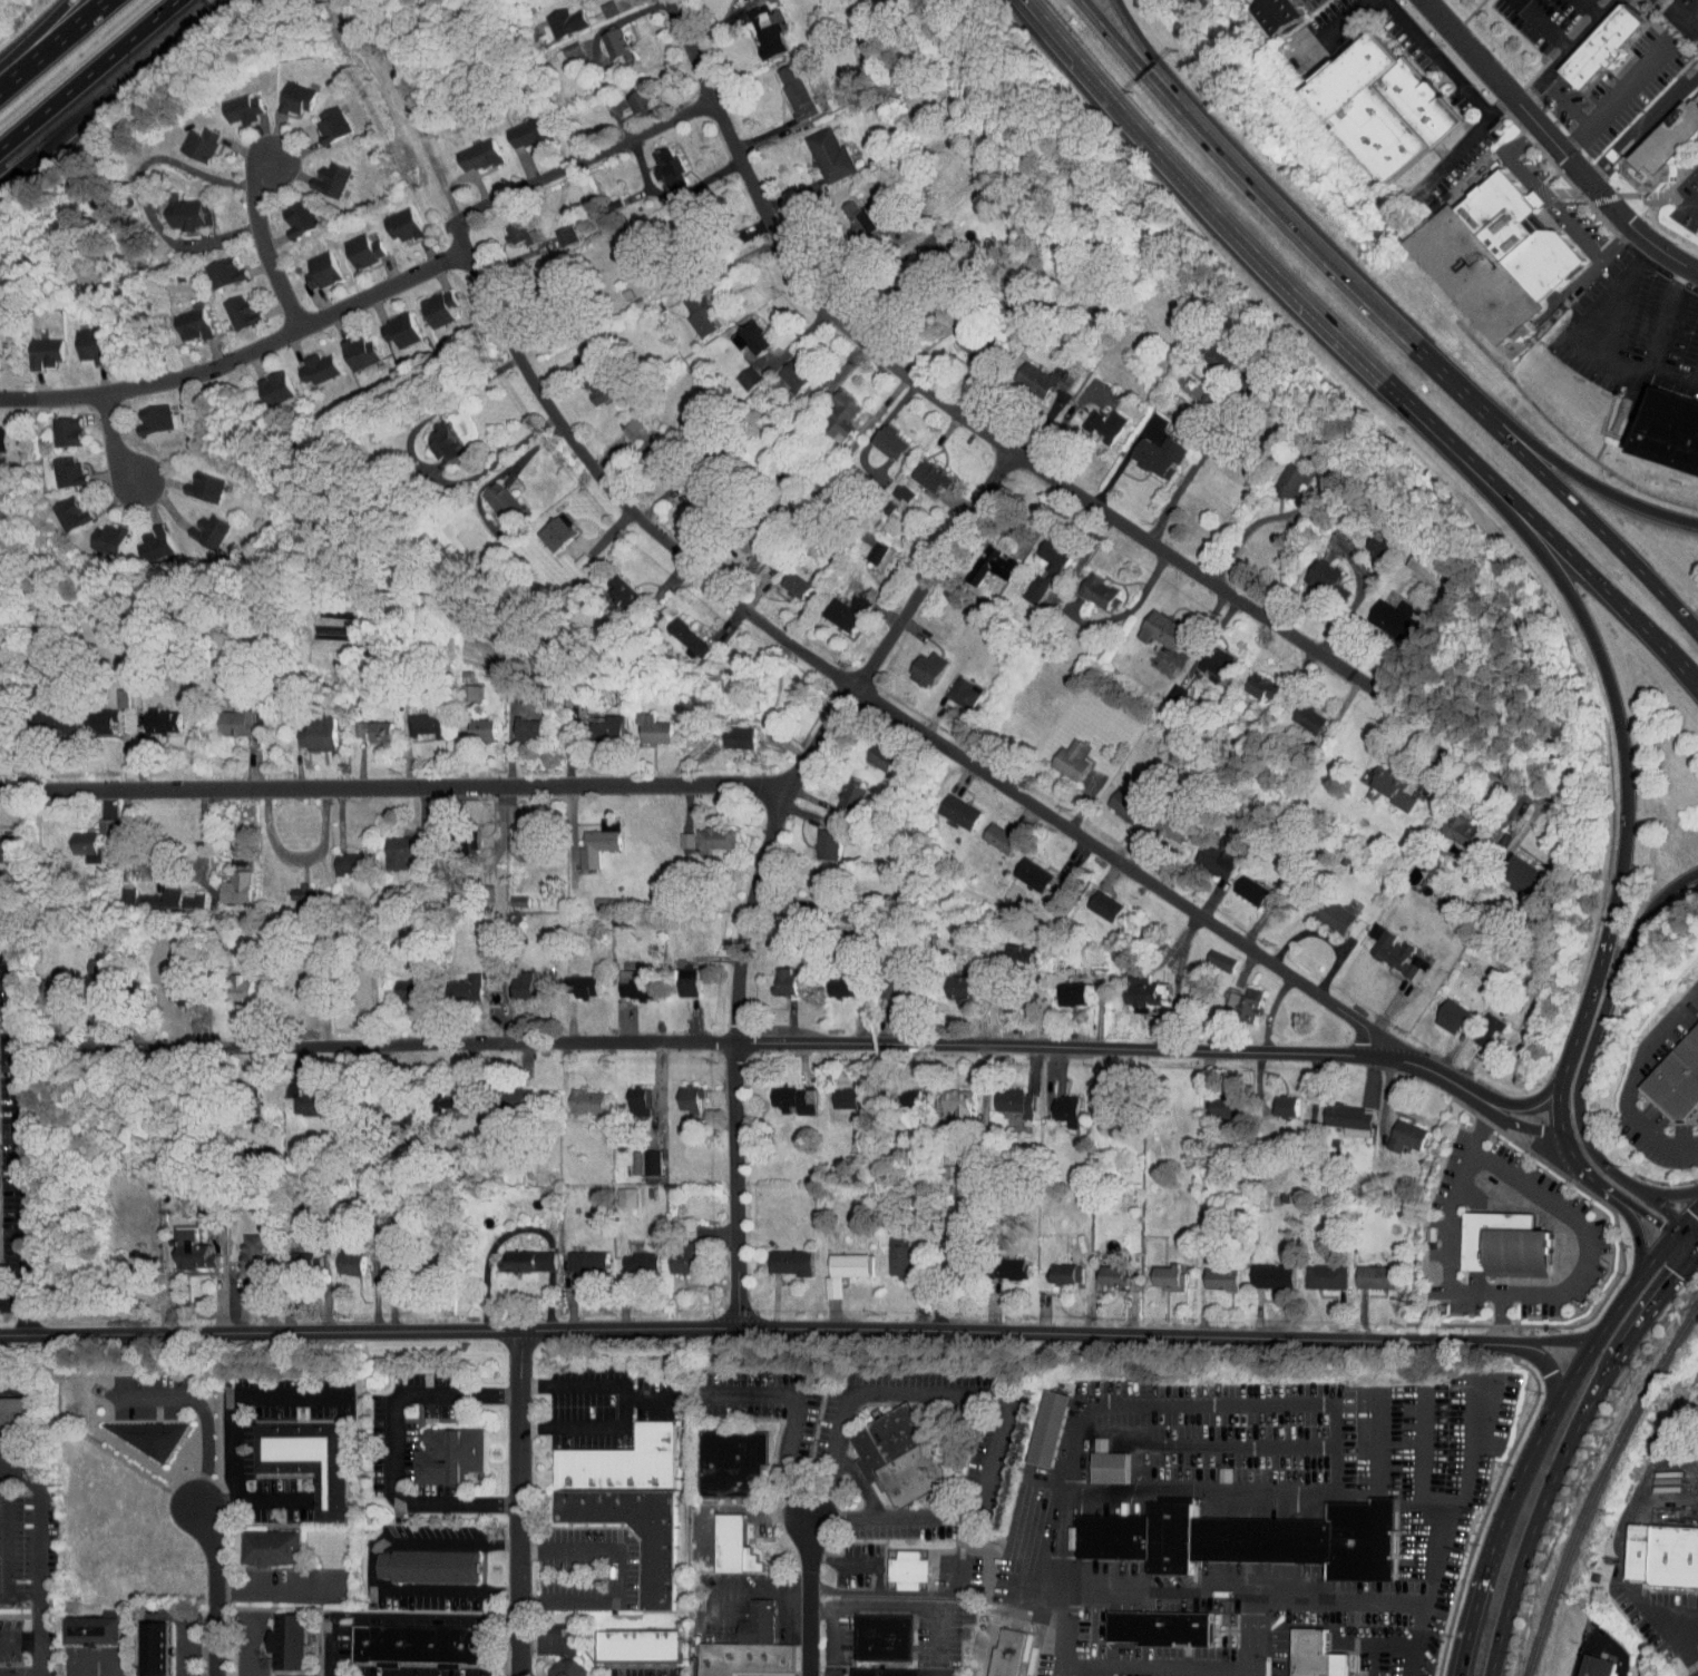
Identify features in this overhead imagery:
building: (596, 3)
road: (1591, 8)
building: (553, 14)
building: (1280, 14)
road: (1681, 16)
road: (612, 22)
building: (754, 22)
road: (1544, 23)
road: (1340, 26)
road: (35, 33)
building: (604, 37)
building: (1590, 39)
building: (1694, 39)
road: (1064, 41)
road: (52, 43)
road: (1052, 46)
building: (1603, 47)
road: (1567, 51)
road: (1438, 57)
road: (1153, 63)
road: (1136, 65)
road: (87, 73)
road: (131, 76)
building: (782, 85)
building: (283, 90)
building: (627, 96)
road: (1614, 97)
building: (230, 101)
road: (1564, 104)
building: (1383, 106)
building: (318, 117)
building: (515, 126)
road: (1640, 127)
building: (186, 137)
building: (1650, 139)
road: (1464, 143)
road: (1553, 145)
road: (1631, 145)
building: (465, 148)
building: (817, 148)
road: (586, 157)
road: (1618, 159)
building: (656, 160)
road: (20, 168)
building: (316, 173)
road: (1602, 176)
road: (139, 193)
road: (1692, 203)
building: (175, 206)
building: (285, 212)
building: (846, 212)
building: (388, 218)
building: (508, 226)
building: (553, 228)
road: (1238, 233)
road: (271, 242)
building: (350, 243)
building: (1503, 255)
road: (1325, 261)
building: (308, 263)
building: (211, 266)
building: (424, 301)
building: (226, 304)
building: (685, 305)
building: (178, 317)
building: (387, 323)
building: (739, 331)
building: (76, 337)
building: (956, 337)
building: (31, 345)
building: (347, 345)
building: (1203, 351)
building: (45, 352)
road: (243, 354)
road: (1624, 361)
building: (303, 362)
building: (781, 369)
building: (735, 371)
building: (1031, 371)
building: (585, 375)
road: (1670, 379)
building: (262, 381)
building: (828, 410)
building: (140, 412)
building: (1092, 416)
building: (52, 424)
building: (1672, 429)
building: (626, 430)
building: (66, 431)
building: (878, 435)
building: (431, 437)
building: (4, 440)
road: (113, 444)
building: (1146, 450)
road: (416, 463)
road: (1193, 463)
building: (53, 464)
building: (918, 470)
road: (1570, 470)
building: (67, 471)
road: (1044, 473)
building: (1277, 474)
building: (192, 480)
building: (491, 497)
road: (1520, 506)
building: (57, 507)
road: (1580, 510)
road: (1261, 520)
building: (195, 525)
building: (545, 525)
building: (92, 531)
building: (140, 537)
building: (1365, 537)
building: (863, 545)
building: (987, 558)
building: (1408, 559)
building: (1035, 561)
building: (1310, 569)
building: (785, 577)
building: (1085, 584)
building: (607, 585)
road: (1358, 592)
building: (835, 605)
building: (1380, 611)
building: (1149, 624)
building: (676, 630)
building: (1203, 654)
building: (914, 663)
road: (1675, 664)
building: (1250, 680)
building: (458, 686)
building: (952, 686)
building: (109, 692)
road: (879, 702)
building: (1296, 712)
building: (87, 714)
building: (149, 714)
building: (41, 715)
building: (223, 716)
building: (412, 718)
building: (595, 722)
building: (468, 723)
building: (515, 723)
building: (641, 723)
building: (361, 724)
road: (1622, 724)
building: (304, 728)
building: (725, 731)
building: (868, 751)
building: (1058, 753)
building: (1380, 781)
road: (396, 787)
building: (839, 788)
building: (1113, 796)
building: (947, 805)
building: (597, 817)
building: (92, 820)
building: (1159, 823)
building: (1451, 825)
building: (987, 831)
building: (673, 833)
building: (701, 833)
building: (506, 834)
building: (70, 836)
building: (814, 837)
building: (583, 840)
building: (388, 844)
building: (1203, 853)
building: (335, 856)
road: (767, 856)
road: (300, 860)
building: (1021, 868)
building: (1507, 869)
building: (223, 881)
building: (1238, 883)
building: (116, 888)
building: (290, 888)
building: (158, 893)
building: (506, 894)
building: (1092, 899)
building: (1321, 909)
building: (1004, 948)
building: (1384, 948)
building: (1207, 954)
building: (81, 962)
building: (675, 976)
building: (771, 976)
building: (510, 978)
building: (568, 979)
building: (622, 979)
building: (828, 980)
building: (881, 980)
building: (946, 980)
building: (451, 981)
building: (226, 982)
building: (392, 983)
building: (39, 986)
building: (164, 986)
building: (1128, 986)
building: (1058, 987)
building: (1231, 997)
building: (1438, 1010)
building: (1476, 1022)
road: (398, 1042)
road: (1082, 1047)
road: (1589, 1055)
road: (1631, 1079)
building: (1678, 1080)
building: (895, 1086)
road: (1457, 1088)
building: (502, 1089)
building: (676, 1091)
building: (835, 1091)
building: (781, 1094)
building: (1001, 1094)
building: (435, 1095)
building: (945, 1095)
building: (574, 1096)
building: (626, 1096)
building: (295, 1098)
building: (1272, 1099)
building: (1212, 1100)
building: (1053, 1104)
road: (1530, 1107)
building: (1336, 1113)
road: (13, 1121)
building: (1393, 1129)
road: (1523, 1129)
building: (633, 1156)
building: (614, 1190)
road: (1622, 1202)
road: (1665, 1214)
traffic signals: (1692, 1215)
road: (1581, 1225)
traffic signals: (1659, 1229)
road: (1634, 1234)
building: (1505, 1244)
building: (179, 1246)
building: (241, 1247)
road: (1445, 1247)
building: (672, 1251)
building: (887, 1252)
building: (291, 1254)
building: (514, 1254)
building: (336, 1255)
building: (573, 1255)
building: (778, 1255)
building: (627, 1256)
building: (939, 1257)
building: (995, 1262)
building: (832, 1265)
building: (1053, 1267)
building: (1100, 1270)
building: (1259, 1270)
building: (1312, 1271)
building: (1363, 1271)
building: (1154, 1272)
building: (1208, 1273)
traffic signals: (1678, 1275)
road: (9, 1298)
road: (632, 1329)
road: (260, 1331)
road: (1134, 1336)
road: (1561, 1344)
road: (1554, 1375)
road: (235, 1394)
road: (715, 1395)
road: (1002, 1396)
road: (1287, 1404)
building: (8, 1405)
road: (205, 1420)
building: (1034, 1422)
road: (589, 1425)
road: (1546, 1427)
building: (1047, 1429)
road: (1206, 1441)
road: (1375, 1443)
road: (1417, 1444)
road: (391, 1447)
road: (1570, 1451)
building: (897, 1453)
building: (449, 1454)
building: (308, 1458)
building: (623, 1461)
building: (1096, 1461)
building: (732, 1462)
building: (1112, 1467)
road: (11, 1470)
road: (857, 1482)
railway: (1599, 1486)
road: (1388, 1492)
road: (1450, 1492)
road: (1638, 1494)
road: (253, 1499)
road: (520, 1503)
road: (731, 1510)
road: (2, 1532)
building: (1245, 1540)
building: (734, 1546)
building: (272, 1548)
road: (35, 1552)
building: (1663, 1555)
road: (371, 1564)
building: (430, 1565)
road: (853, 1565)
building: (909, 1568)
building: (656, 1572)
road: (1621, 1574)
road: (612, 1575)
road: (283, 1586)
road: (216, 1588)
road: (895, 1591)
road: (1159, 1594)
road: (807, 1595)
road: (1355, 1603)
road: (897, 1608)
road: (996, 1608)
road: (413, 1616)
building: (760, 1621)
road: (1678, 1621)
building: (1160, 1627)
road: (182, 1628)
building: (95, 1629)
road: (1663, 1630)
road: (836, 1634)
building: (274, 1636)
road: (36, 1638)
building: (291, 1641)
road: (1379, 1641)
building: (140, 1644)
building: (887, 1645)
road: (254, 1646)
building: (418, 1646)
building: (637, 1647)
building: (156, 1648)
building: (994, 1649)
road: (330, 1652)
road: (97, 1654)
building: (1318, 1655)
building: (748, 1658)
road: (1415, 1658)
building: (1583, 1664)
building: (553, 1666)
road: (1158, 1667)
road: (1285, 1669)
road: (1227, 1673)
road: (18, 1674)
road: (821, 1675)

